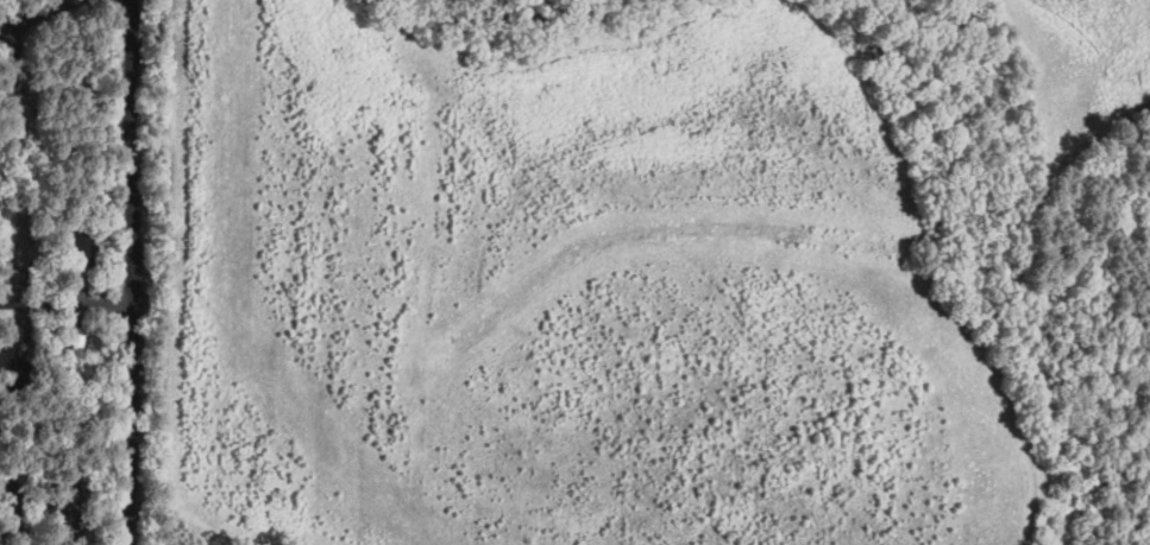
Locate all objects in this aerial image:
road: (36, 14)
road: (131, 272)
road: (65, 303)
building: (11, 365)

